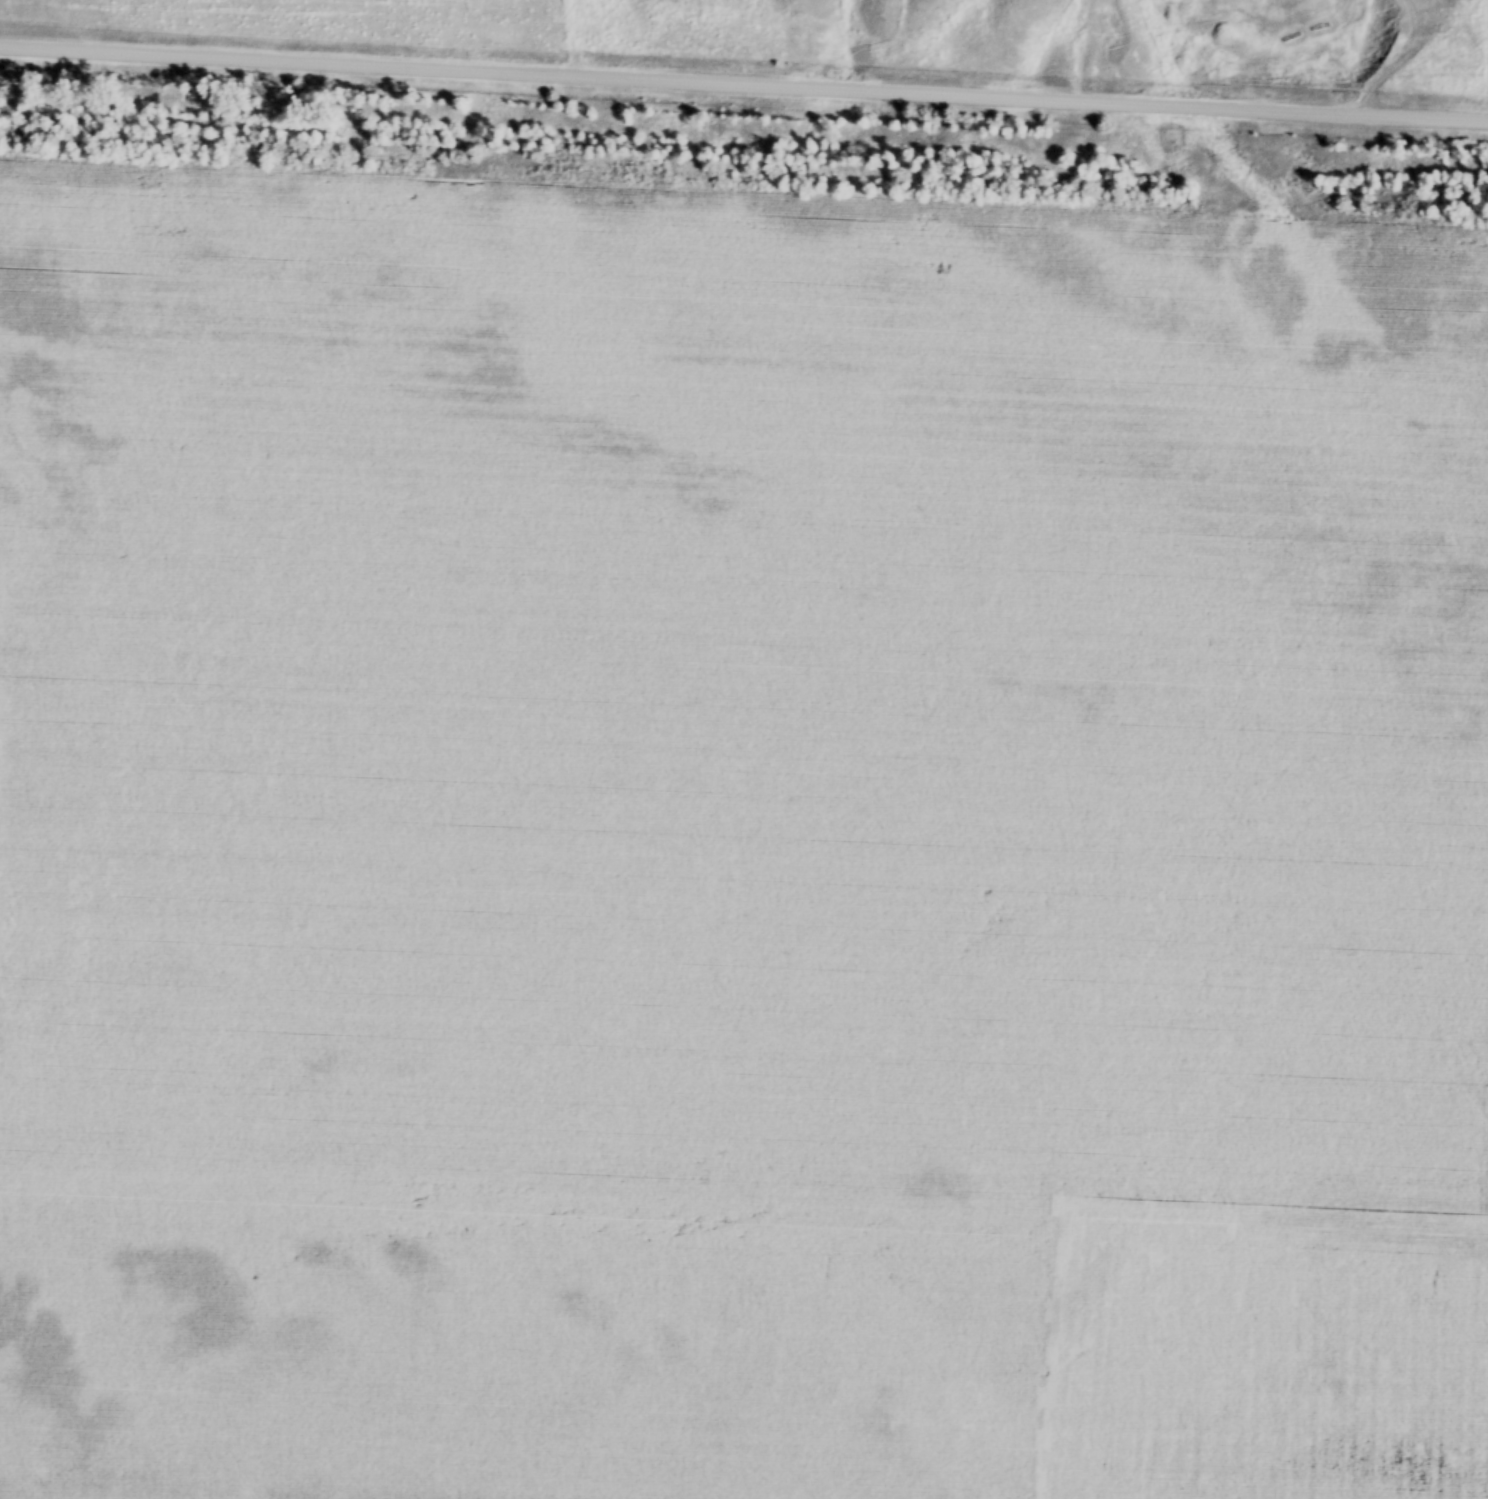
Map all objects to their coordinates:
road: (744, 79)

